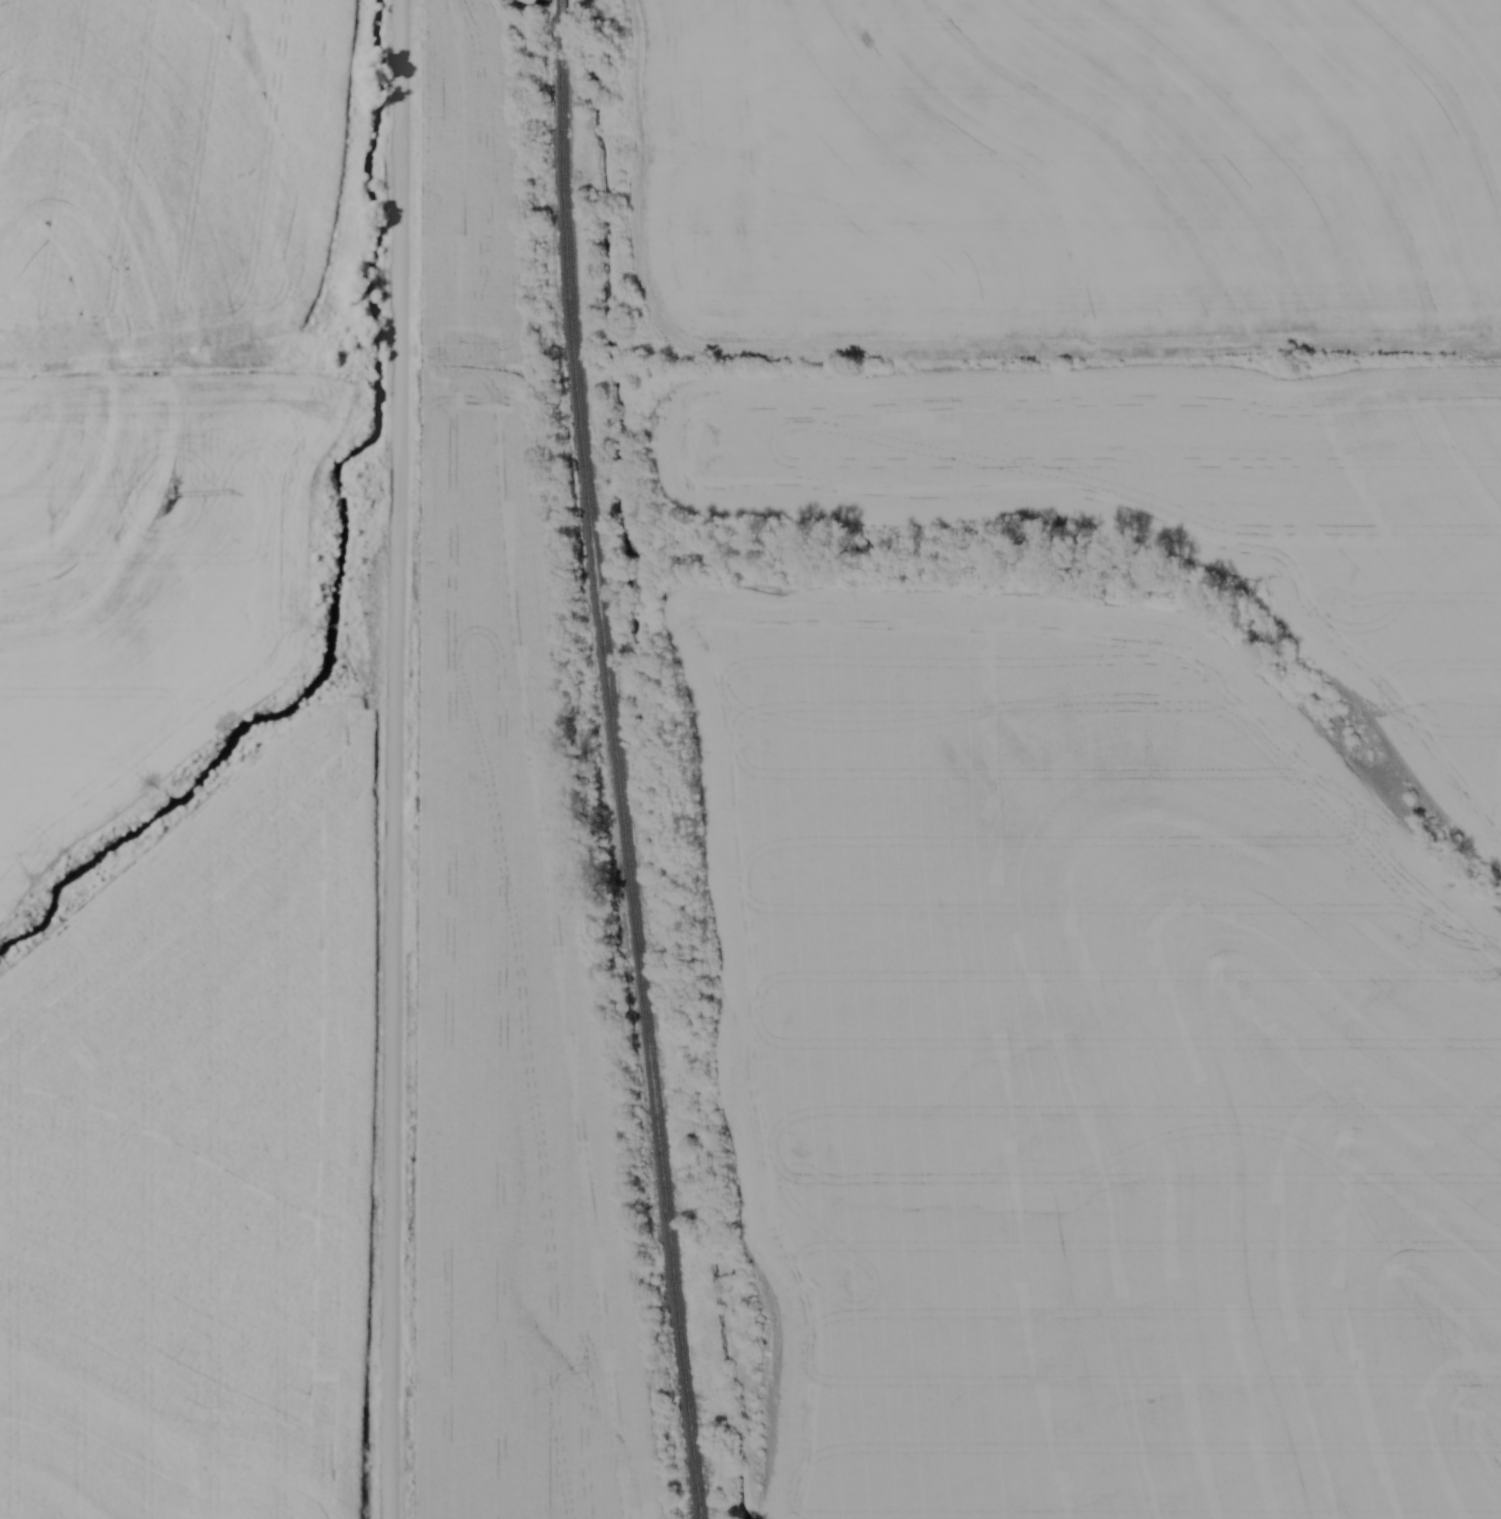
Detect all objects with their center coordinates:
road: (399, 759)
railway: (620, 760)

